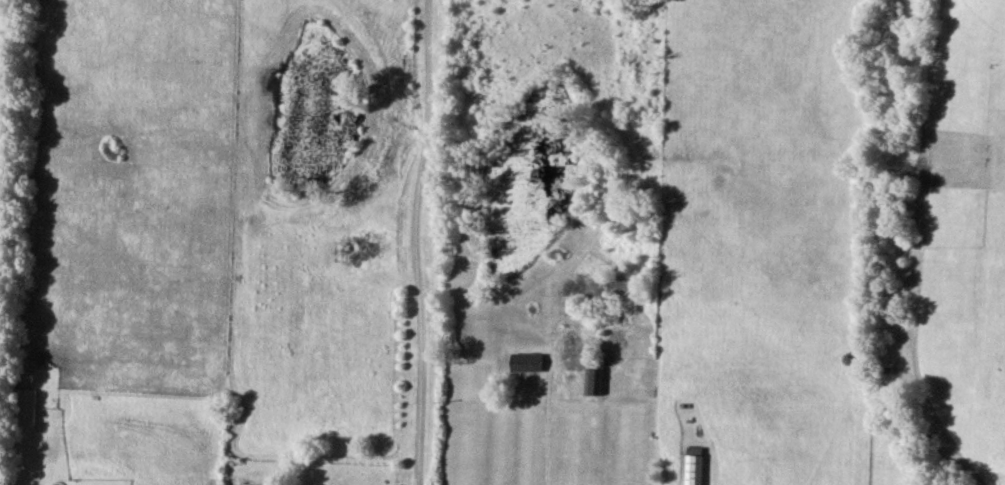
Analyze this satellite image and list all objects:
road: (415, 242)
building: (527, 363)
building: (594, 381)
building: (24, 407)
building: (697, 470)

